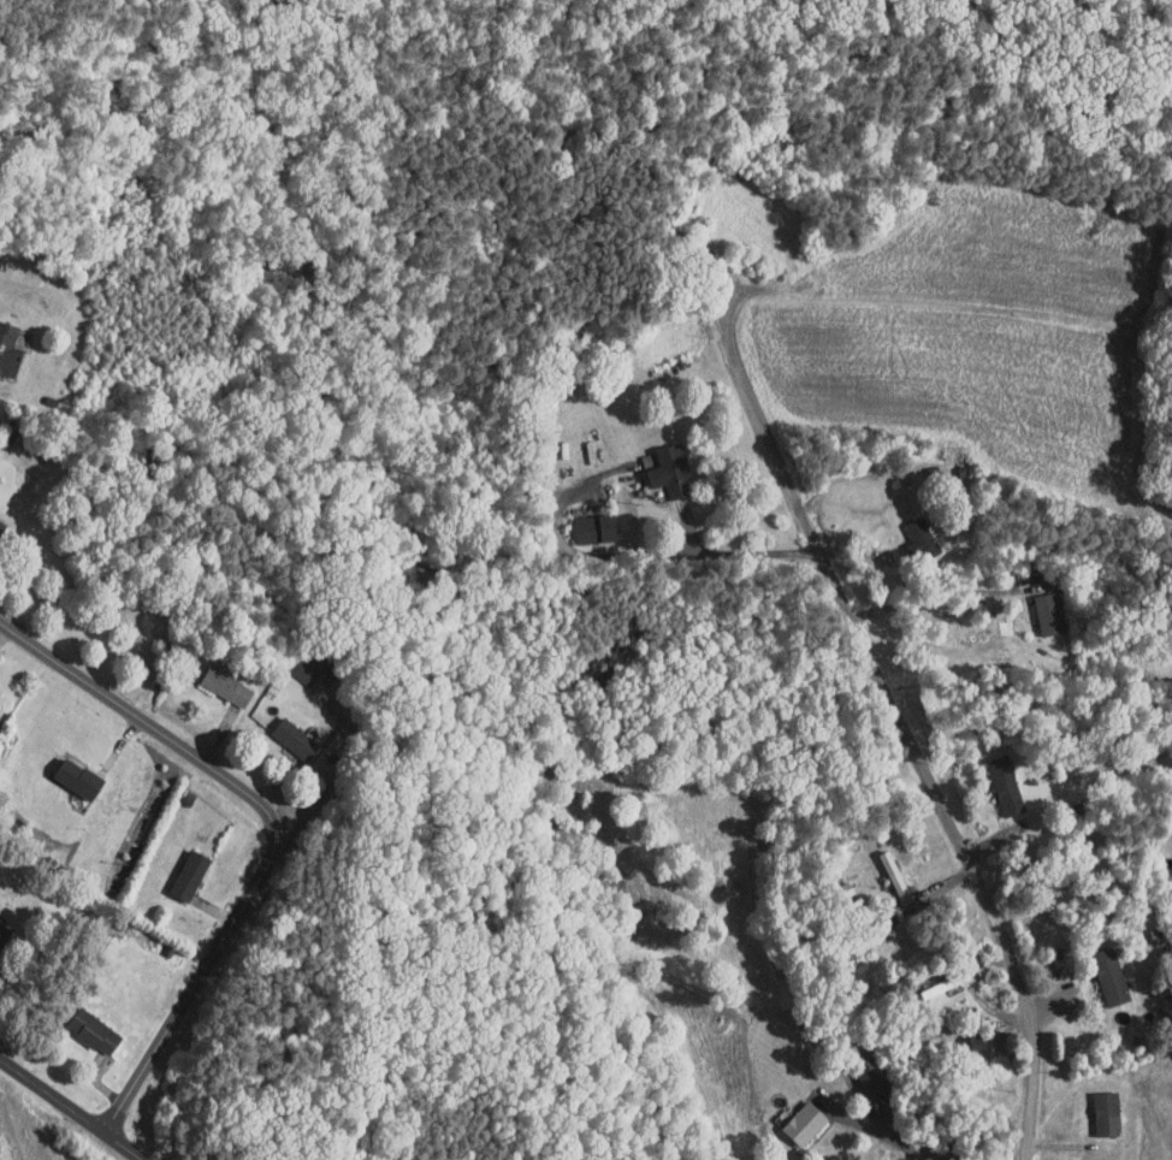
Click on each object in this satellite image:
building: (2, 345)
road: (108, 422)
building: (659, 462)
building: (581, 520)
building: (910, 531)
road: (626, 555)
road: (935, 597)
building: (1034, 605)
building: (214, 677)
road: (896, 721)
building: (282, 730)
building: (66, 769)
road: (339, 776)
building: (993, 777)
road: (274, 834)
building: (177, 866)
building: (1097, 967)
building: (82, 1023)
building: (860, 1067)
building: (1095, 1105)
road: (71, 1109)
building: (792, 1114)
road: (896, 1141)

